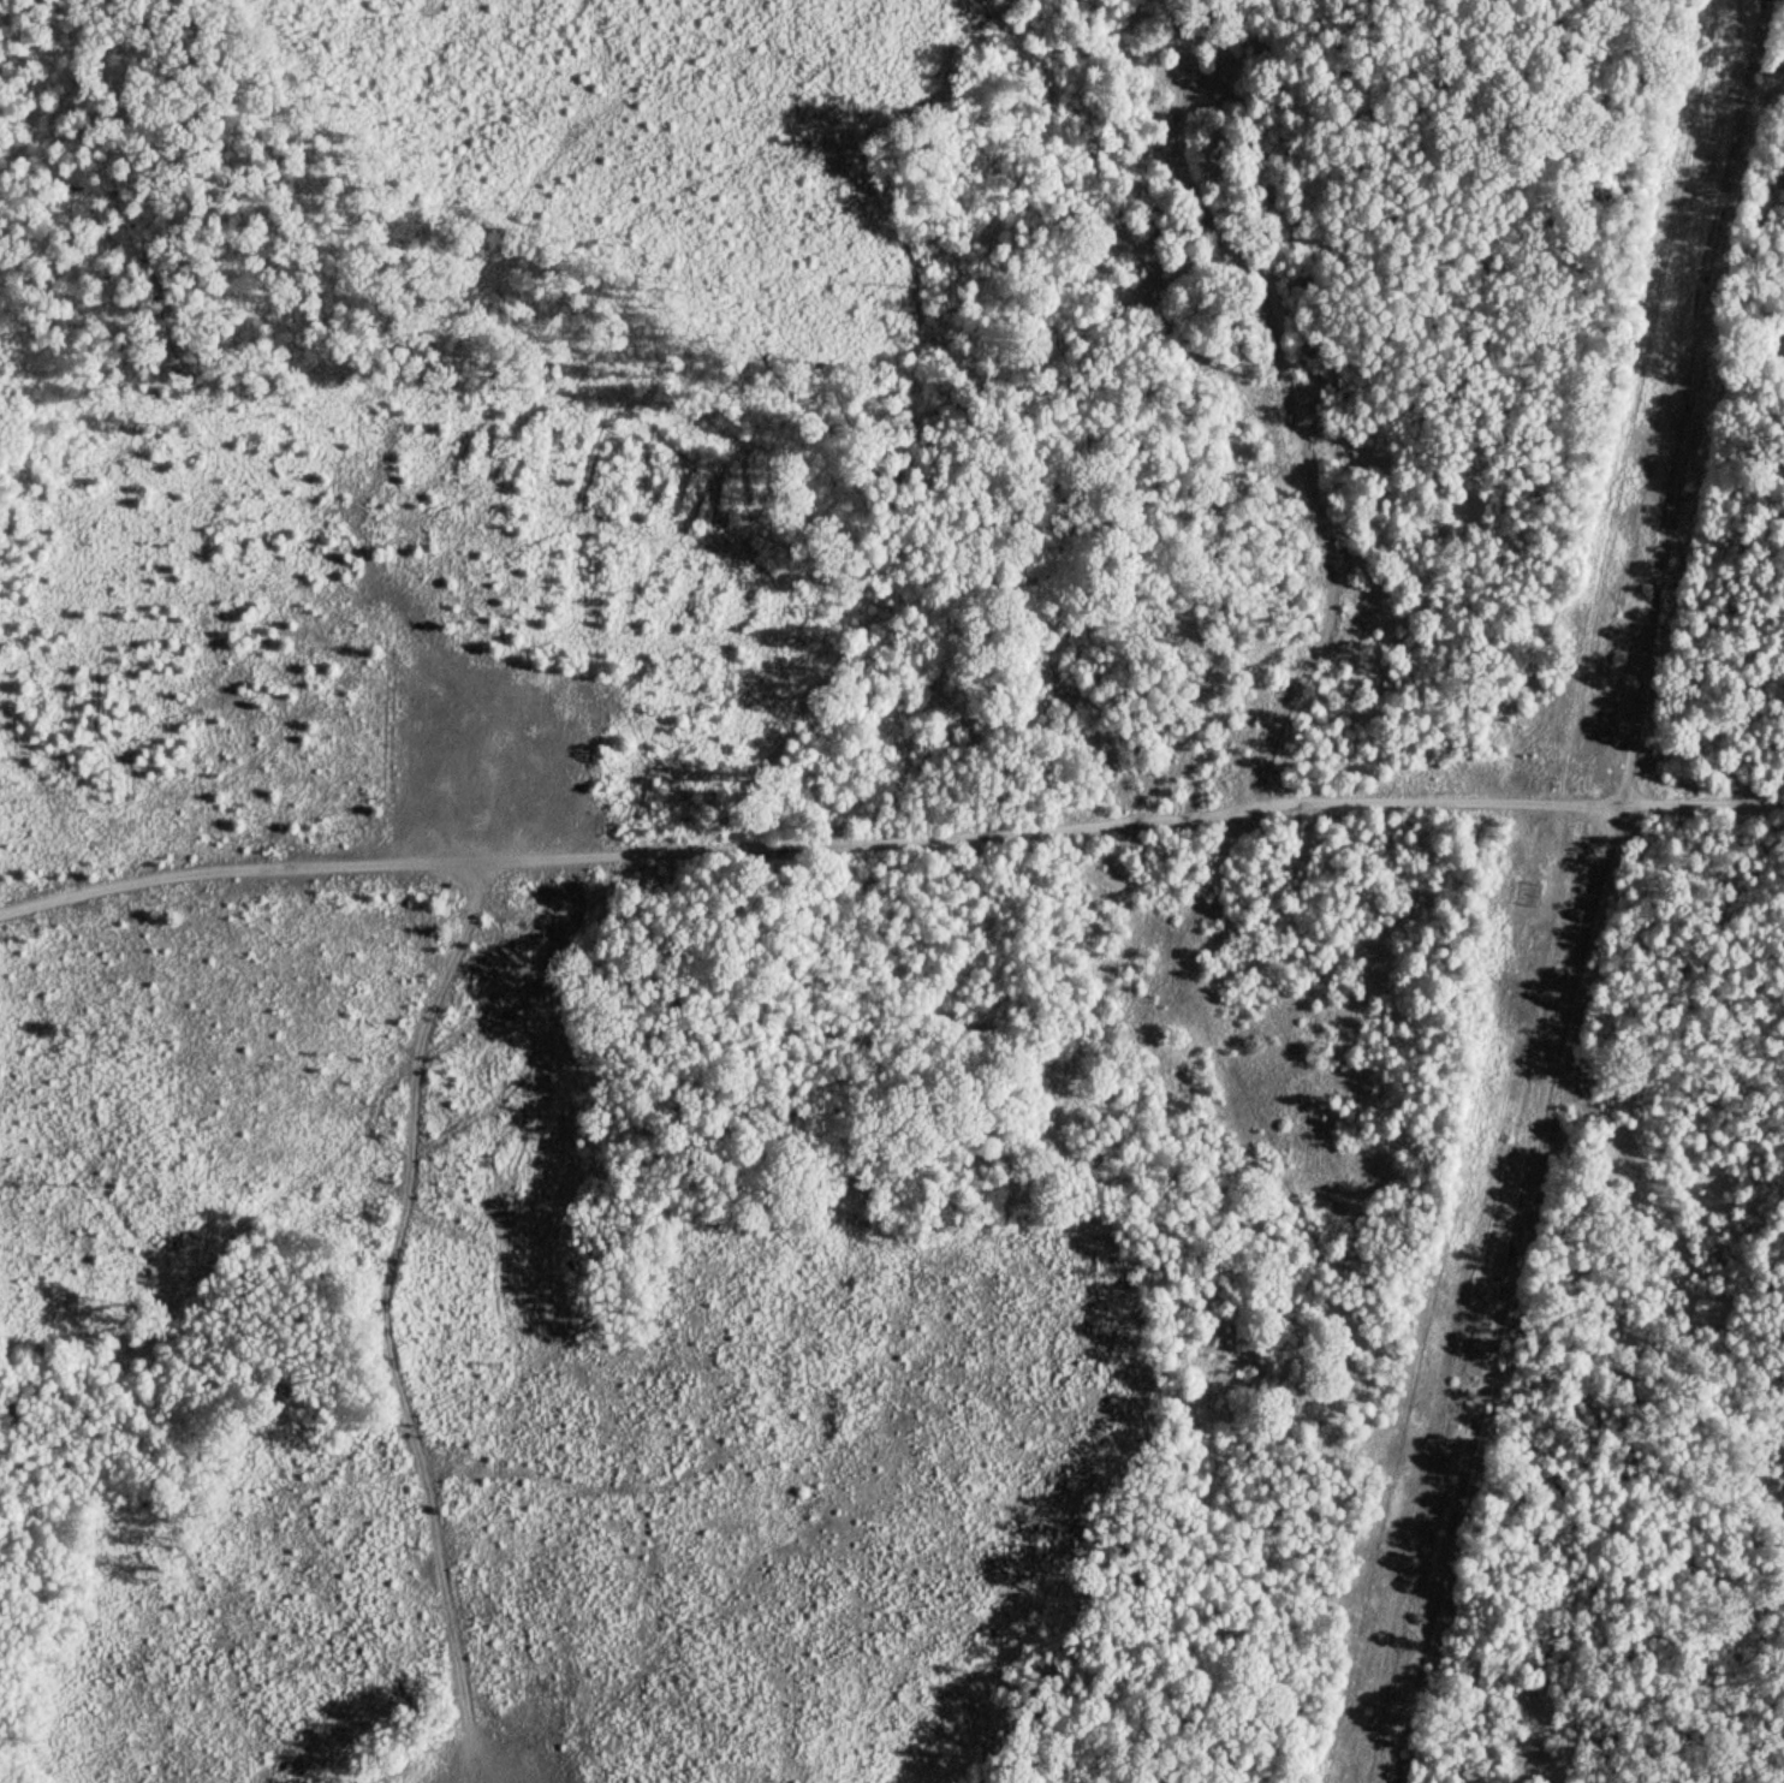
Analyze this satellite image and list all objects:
road: (1283, 406)
road: (1135, 822)
road: (242, 876)
road: (1601, 896)
road: (381, 1309)

